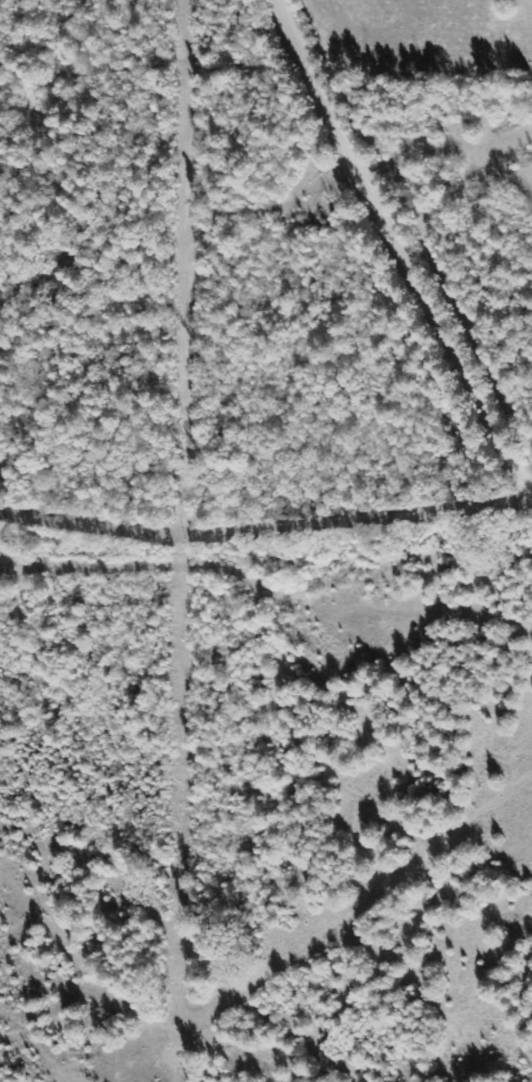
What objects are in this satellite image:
road: (405, 239)

